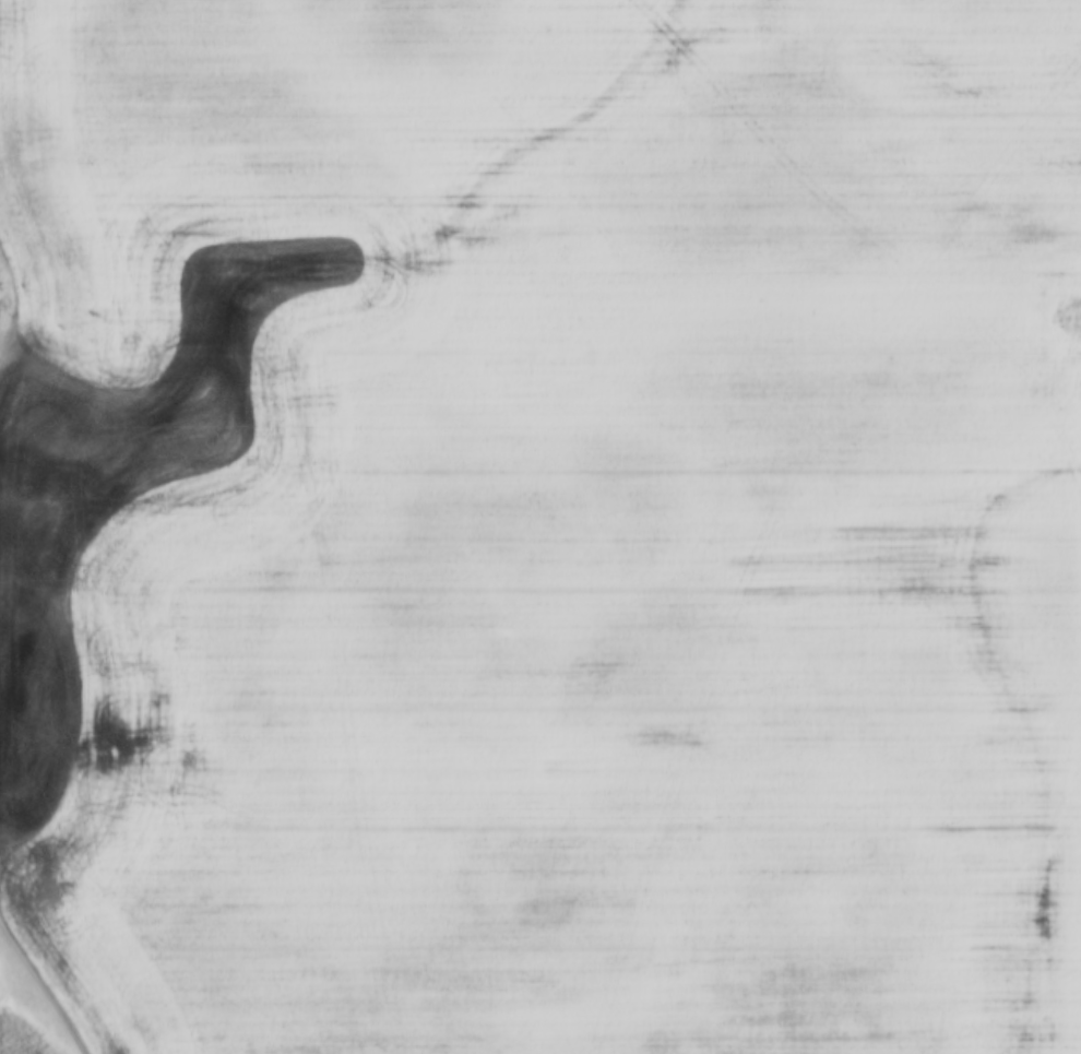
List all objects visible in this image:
road: (47, 985)

